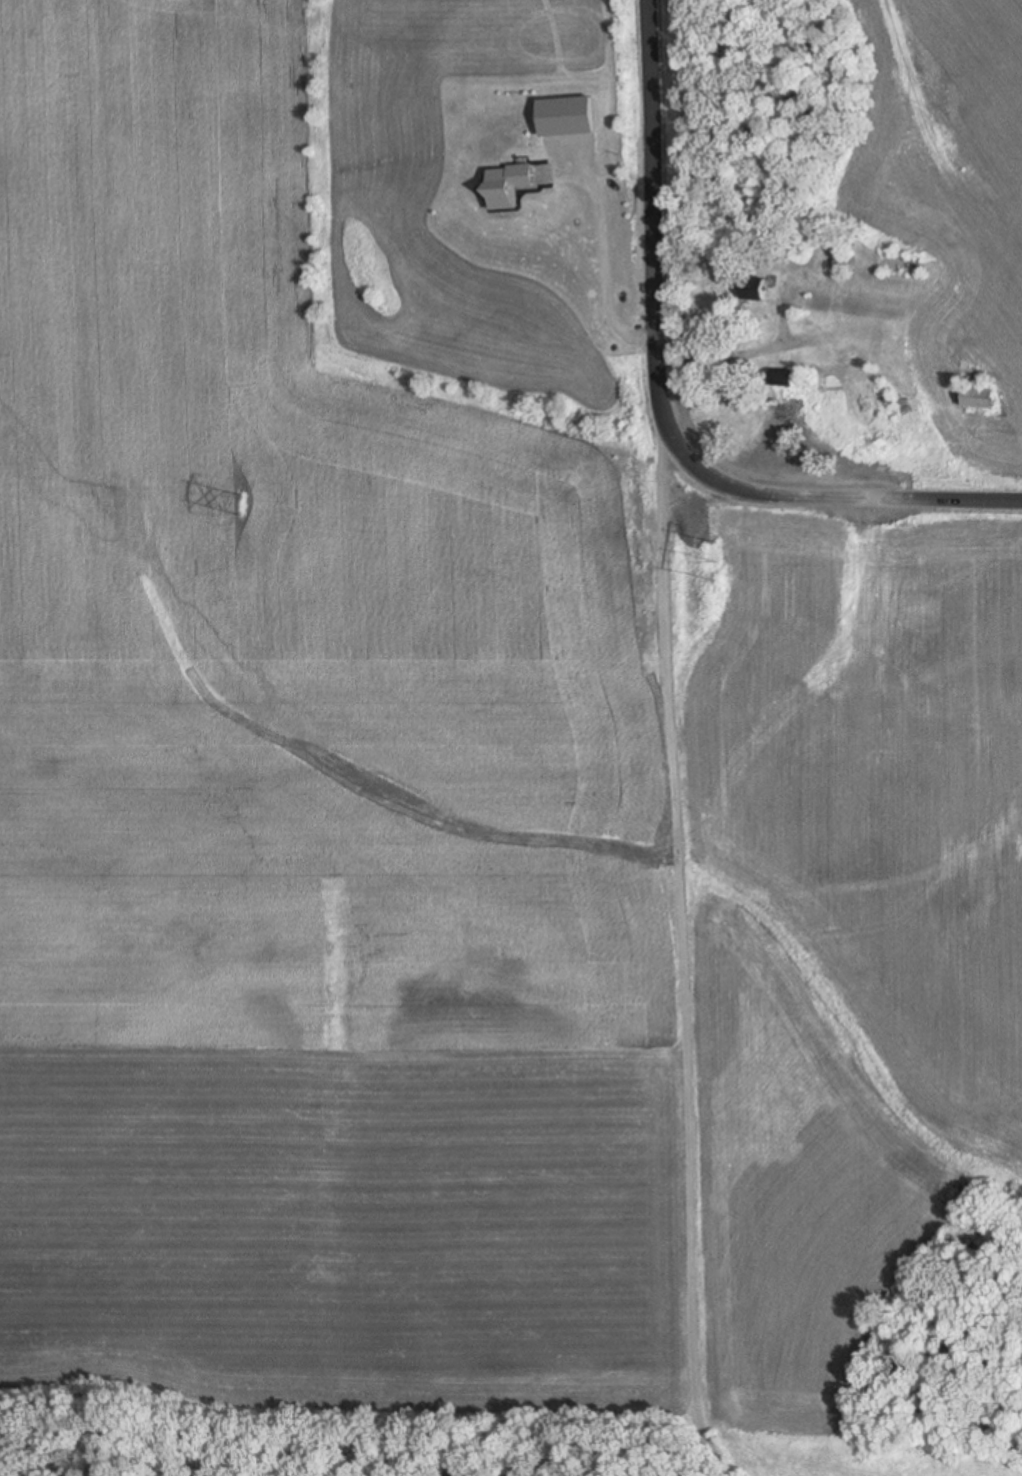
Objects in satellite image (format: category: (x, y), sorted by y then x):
building: (510, 177)
road: (652, 236)
road: (604, 264)
building: (755, 292)
building: (783, 375)
building: (980, 400)
road: (855, 495)
power tower: (242, 508)
power tower: (712, 548)
road: (685, 953)

